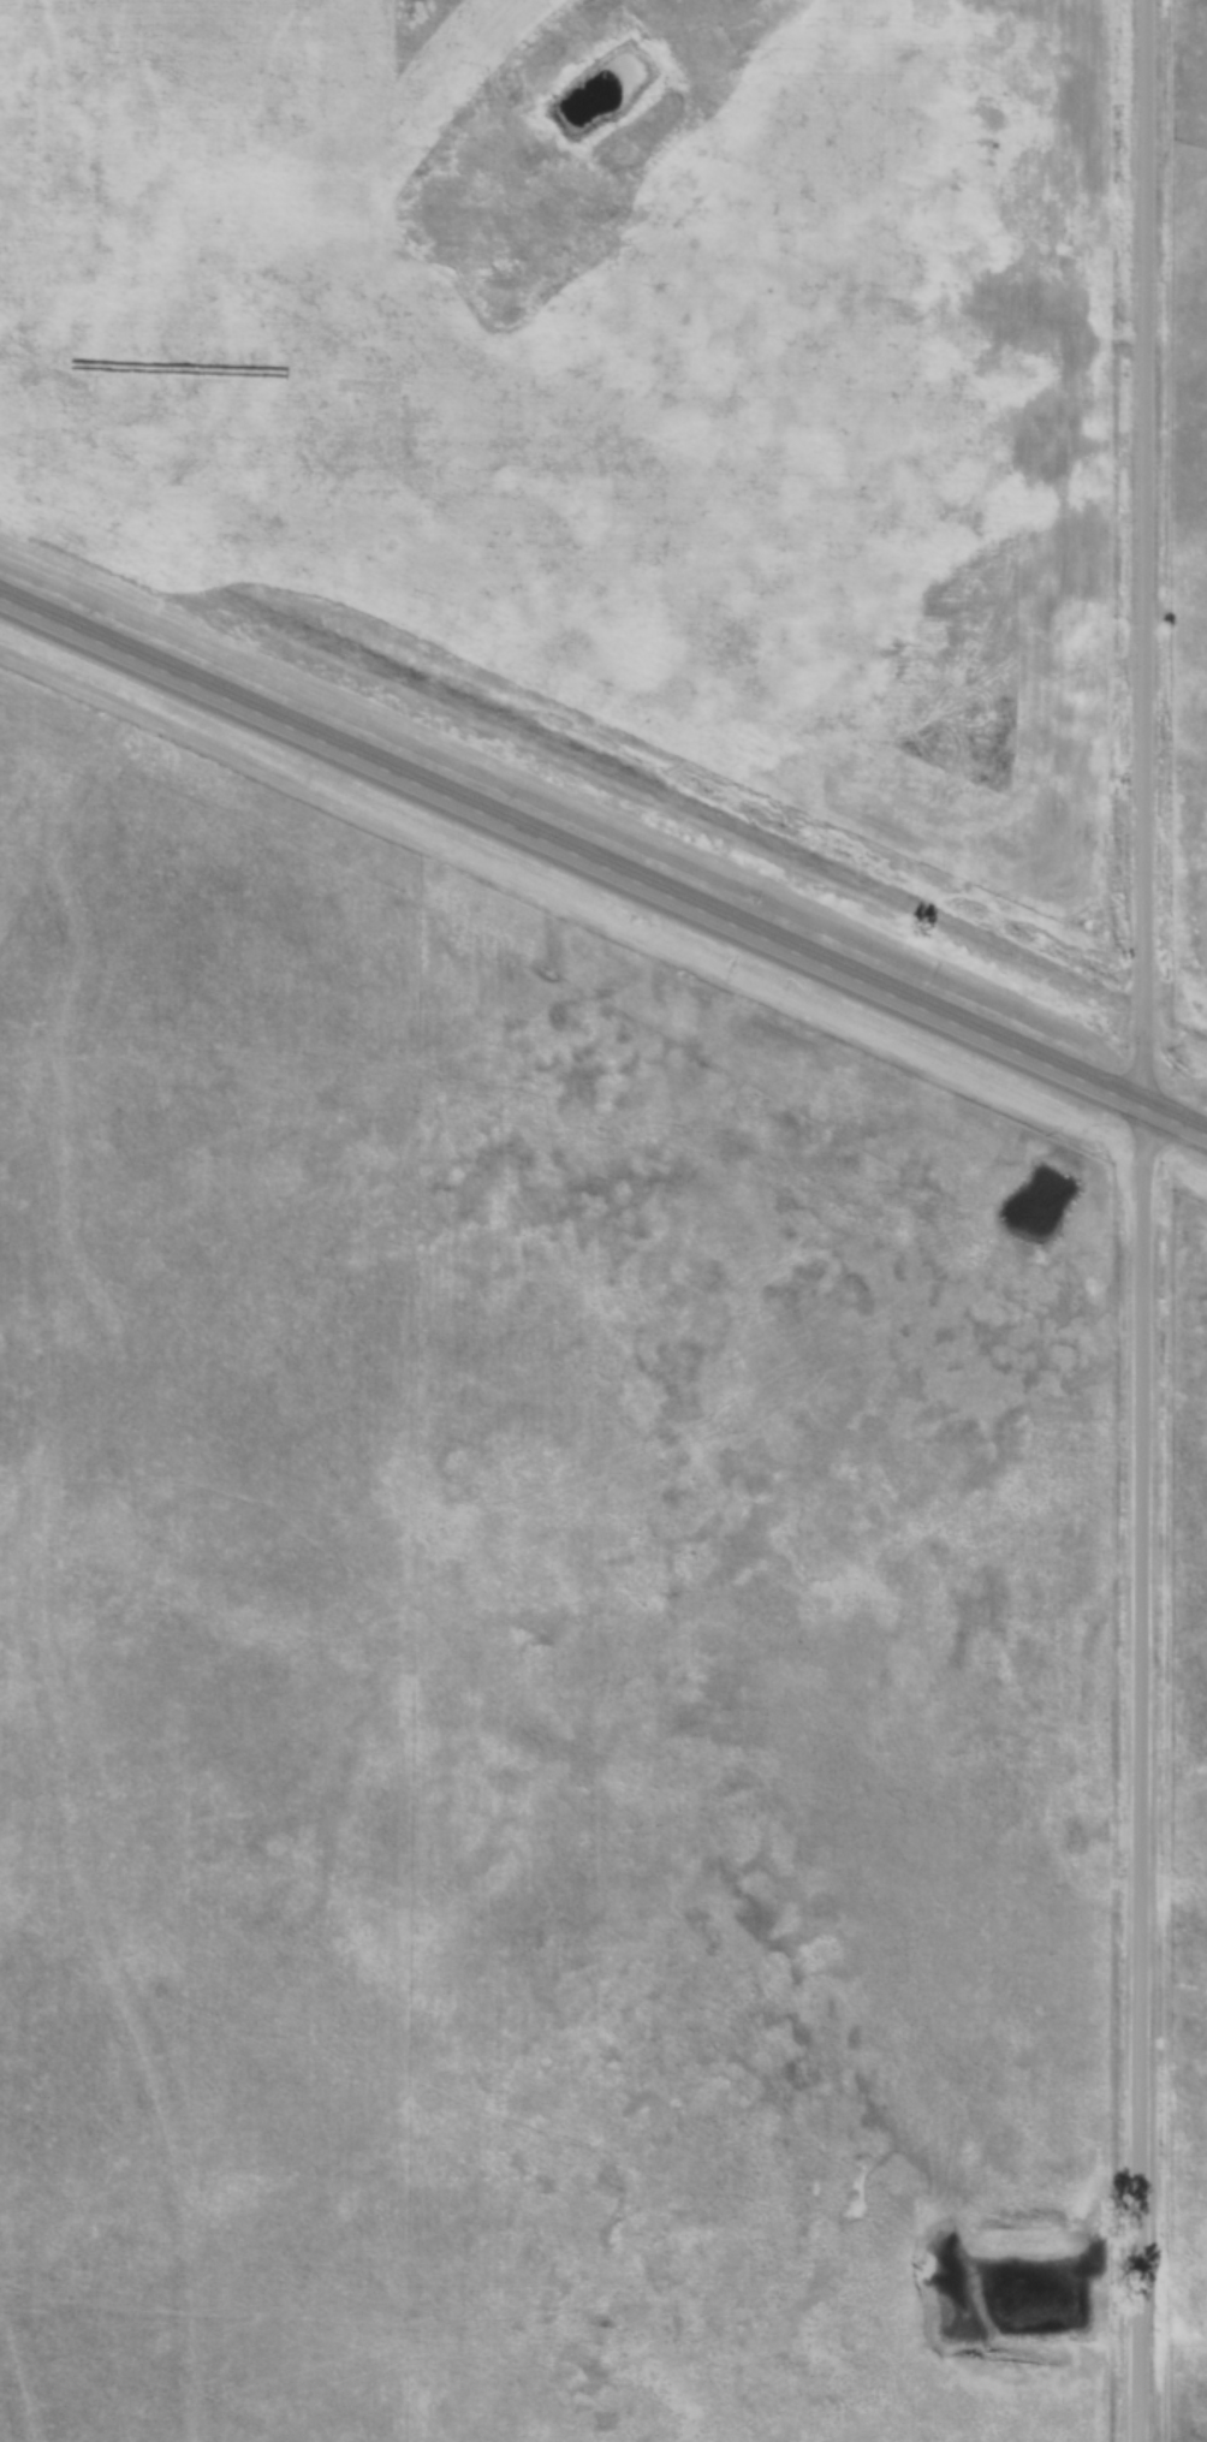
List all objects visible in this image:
road: (603, 866)
road: (1136, 1220)

